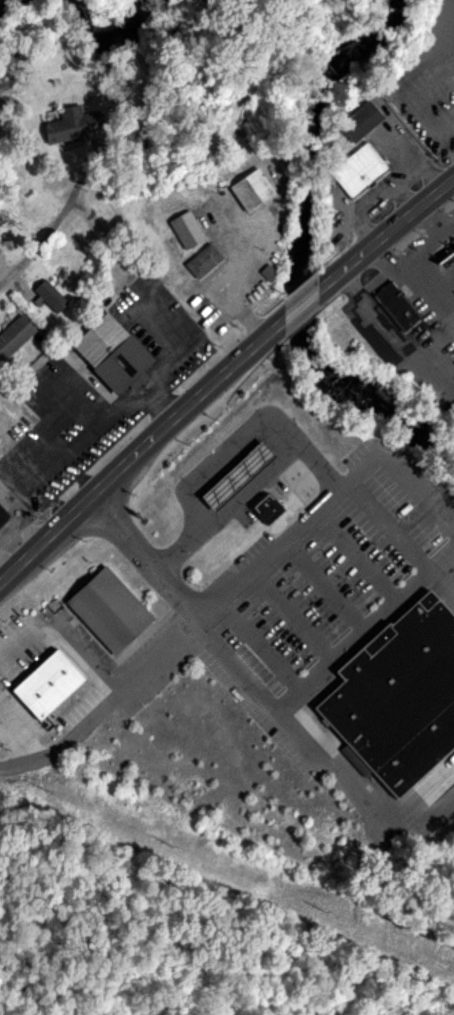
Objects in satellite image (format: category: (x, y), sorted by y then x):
road: (451, 118)
building: (357, 122)
building: (69, 125)
building: (357, 170)
road: (449, 184)
building: (250, 190)
building: (185, 230)
road: (451, 231)
road: (438, 242)
building: (451, 249)
road: (26, 255)
building: (201, 261)
road: (412, 286)
road: (239, 289)
building: (49, 296)
building: (390, 309)
building: (14, 336)
road: (388, 338)
building: (109, 354)
road: (219, 378)
road: (220, 459)
building: (241, 475)
road: (249, 487)
road: (331, 507)
building: (270, 508)
building: (2, 516)
road: (401, 544)
road: (358, 560)
road: (145, 561)
parking lot: (318, 584)
road: (325, 591)
building: (113, 609)
road: (291, 622)
road: (368, 631)
road: (263, 648)
road: (2, 666)
building: (51, 684)
building: (399, 699)
road: (108, 712)
road: (20, 743)
road: (326, 762)

